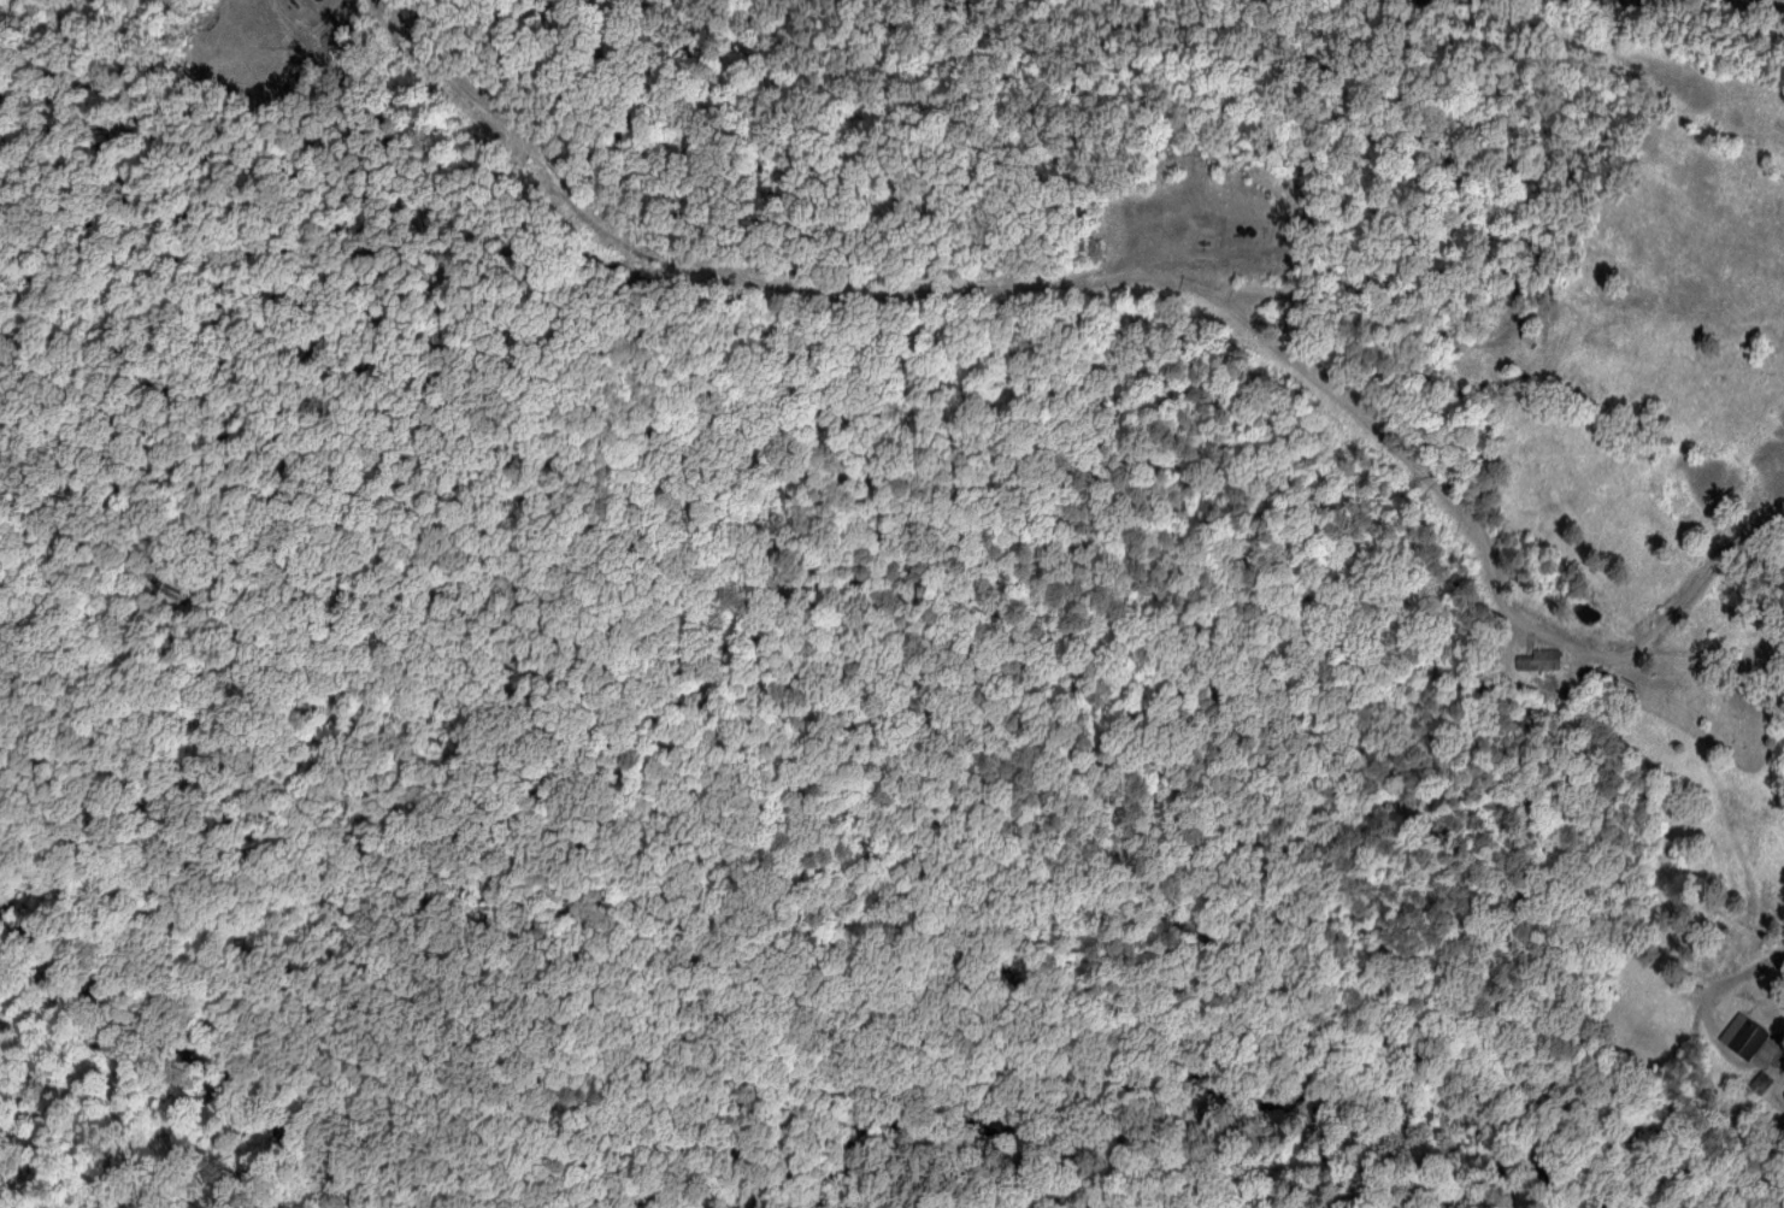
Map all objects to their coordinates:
road: (1755, 1)
building: (1538, 659)
building: (1742, 1035)
road: (1725, 1048)

